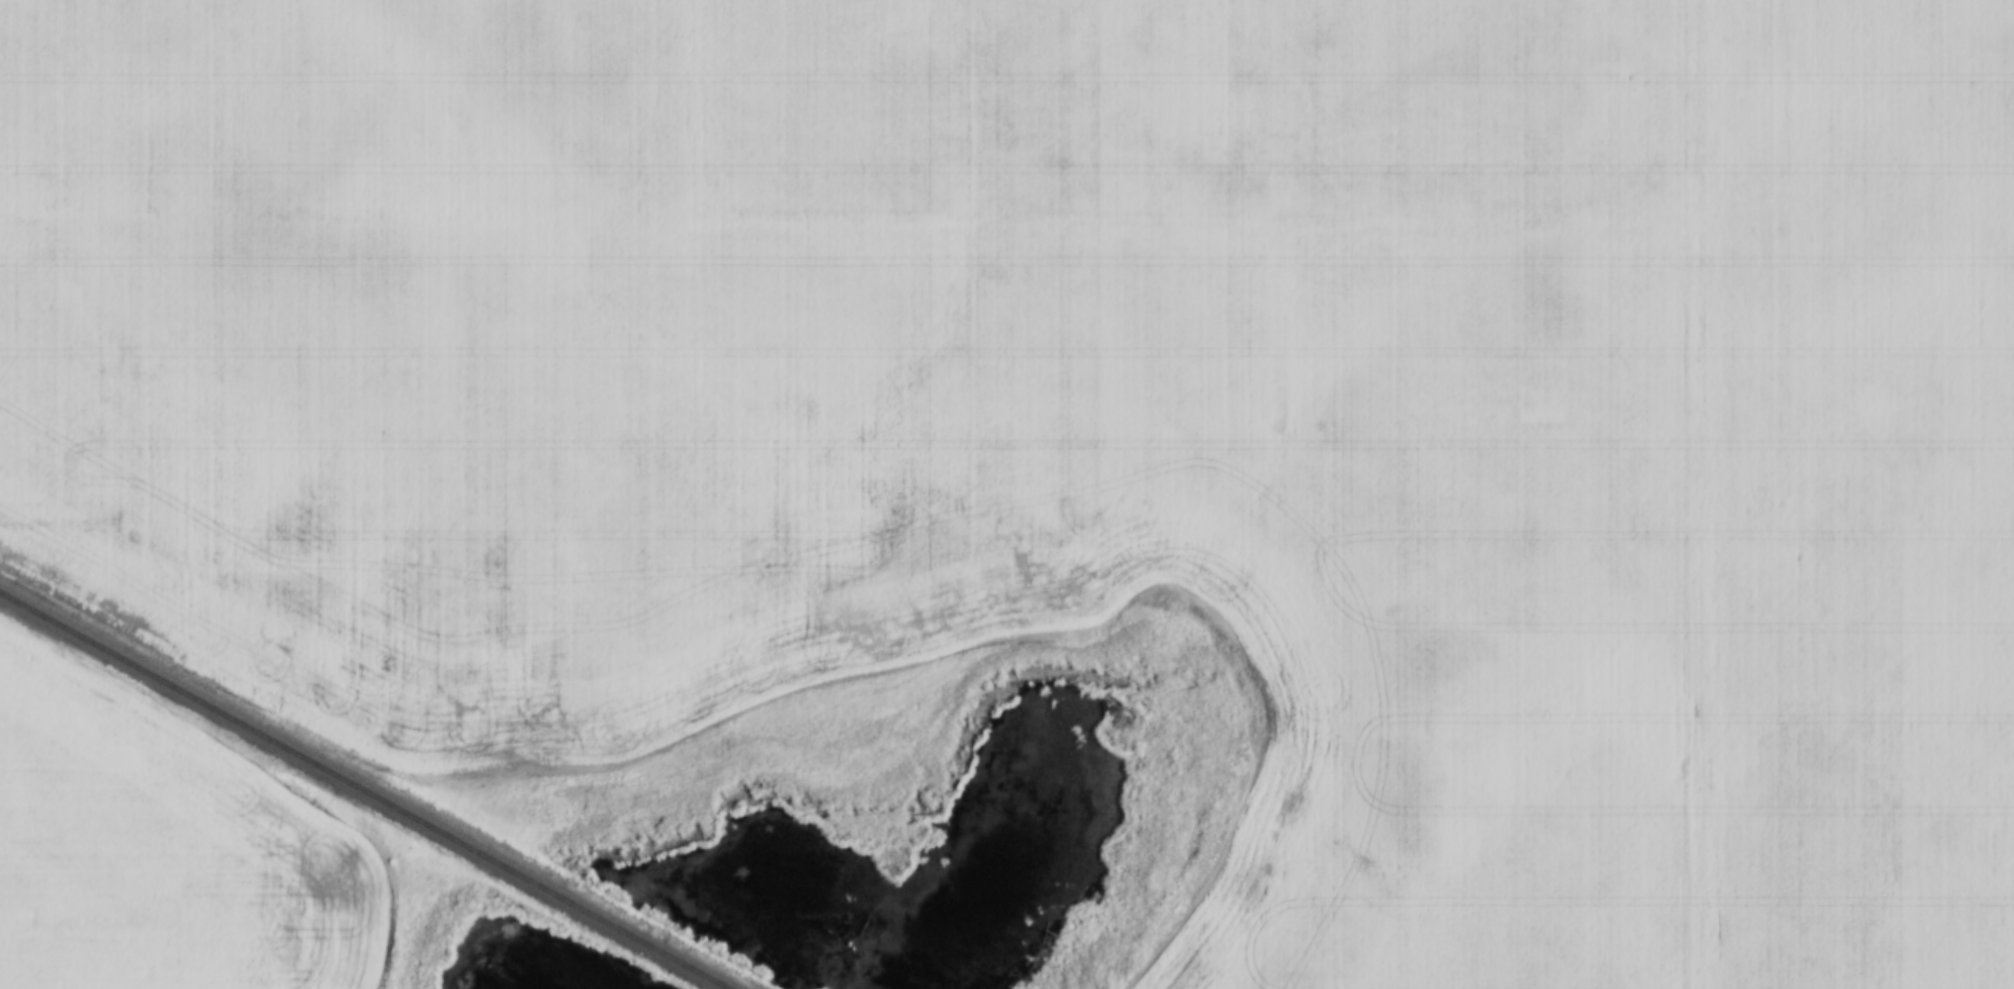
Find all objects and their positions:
railway: (368, 788)

